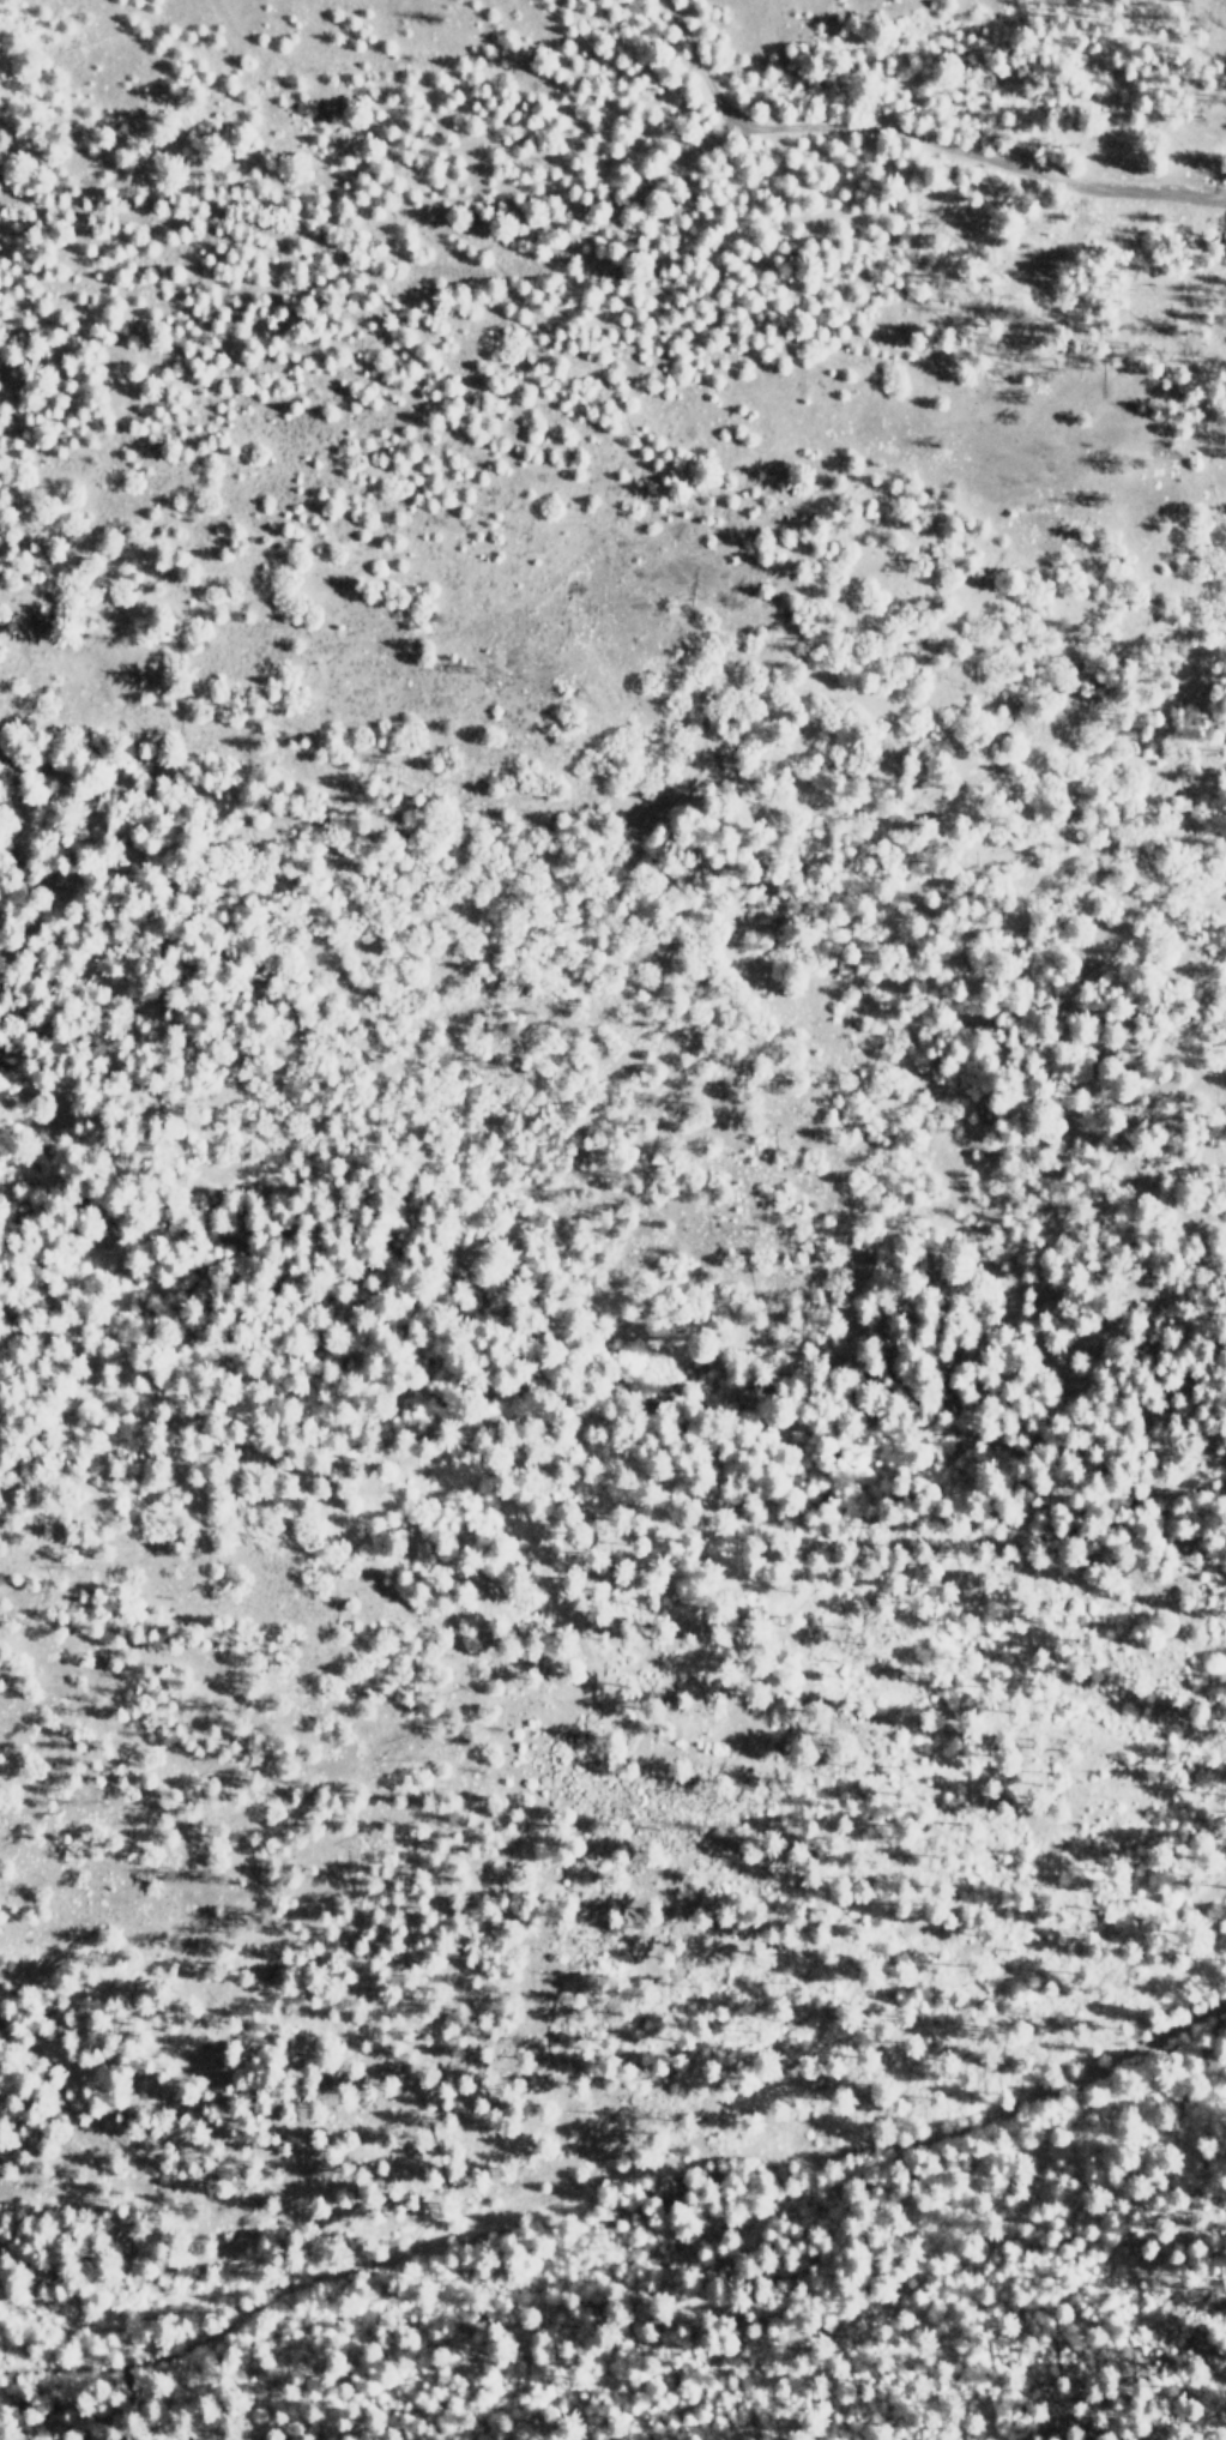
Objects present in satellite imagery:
road: (697, 61)
road: (618, 209)
road: (608, 2173)

